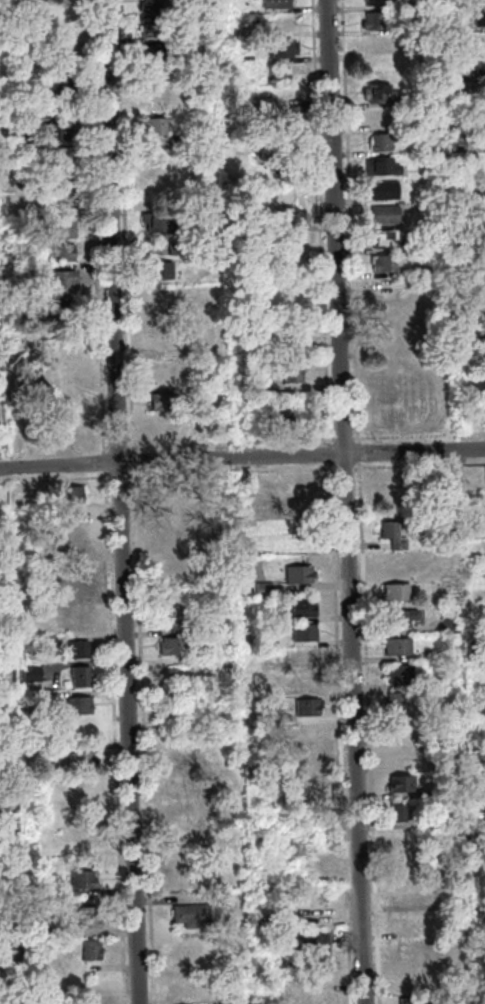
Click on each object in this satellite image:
building: (476, 0)
building: (374, 1)
building: (274, 3)
building: (150, 6)
building: (478, 16)
building: (372, 20)
building: (281, 23)
building: (448, 24)
building: (150, 28)
building: (380, 45)
building: (280, 47)
building: (149, 51)
building: (477, 64)
building: (54, 80)
building: (5, 89)
building: (376, 93)
building: (282, 95)
building: (154, 100)
building: (484, 110)
building: (377, 117)
building: (283, 120)
building: (150, 125)
building: (6, 128)
building: (53, 131)
building: (482, 138)
building: (176, 141)
building: (378, 141)
building: (277, 151)
building: (55, 155)
building: (269, 162)
building: (379, 166)
building: (158, 168)
building: (205, 177)
building: (57, 179)
building: (481, 186)
building: (381, 189)
building: (6, 195)
building: (66, 195)
building: (58, 204)
building: (482, 210)
building: (383, 213)
building: (287, 216)
building: (155, 221)
road: (347, 222)
road: (317, 223)
road: (93, 227)
building: (61, 228)
road: (122, 228)
building: (481, 234)
building: (381, 239)
building: (213, 248)
building: (174, 250)
building: (59, 252)
building: (481, 258)
building: (381, 262)
building: (419, 269)
building: (159, 270)
building: (34, 271)
building: (481, 284)
building: (384, 288)
building: (59, 291)
building: (159, 305)
building: (479, 309)
building: (391, 314)
building: (286, 333)
building: (484, 333)
building: (387, 340)
building: (156, 344)
building: (62, 347)
building: (260, 347)
building: (482, 357)
building: (392, 366)
building: (289, 371)
building: (160, 372)
building: (68, 379)
building: (262, 386)
building: (386, 393)
building: (164, 401)
building: (278, 419)
building: (390, 422)
building: (66, 428)
road: (418, 435)
road: (341, 438)
road: (229, 442)
road: (104, 448)
road: (116, 448)
road: (355, 452)
road: (326, 453)
road: (242, 458)
road: (131, 461)
road: (102, 462)
road: (417, 464)
road: (342, 467)
road: (291, 469)
road: (128, 475)
road: (116, 476)
building: (484, 477)
road: (54, 479)
building: (303, 488)
building: (392, 490)
building: (68, 494)
building: (484, 498)
road: (344, 501)
road: (118, 502)
building: (73, 520)
building: (294, 532)
building: (461, 533)
building: (389, 535)
building: (390, 564)
building: (179, 570)
building: (484, 573)
building: (298, 574)
building: (71, 583)
building: (261, 589)
building: (392, 592)
building: (34, 599)
building: (301, 607)
building: (175, 609)
building: (79, 616)
building: (396, 617)
building: (447, 625)
building: (301, 632)
building: (45, 640)
building: (170, 645)
building: (394, 646)
building: (473, 647)
building: (76, 649)
building: (302, 657)
building: (170, 670)
building: (29, 672)
building: (395, 674)
building: (78, 676)
building: (306, 681)
building: (43, 698)
building: (0, 701)
building: (393, 702)
building: (76, 705)
building: (305, 706)
building: (473, 708)
building: (168, 710)
building: (81, 730)
road: (338, 732)
road: (366, 732)
building: (307, 733)
road: (141, 736)
road: (112, 737)
building: (281, 745)
building: (47, 753)
building: (5, 754)
building: (476, 755)
building: (78, 760)
building: (308, 761)
building: (276, 775)
building: (174, 779)
building: (395, 784)
building: (434, 795)
building: (477, 805)
building: (2, 807)
building: (177, 809)
building: (393, 813)
building: (434, 822)
building: (176, 836)
building: (0, 839)
building: (181, 868)
building: (402, 870)
building: (435, 878)
building: (80, 880)
building: (405, 894)
building: (479, 910)
building: (189, 914)
building: (84, 917)
building: (319, 917)
building: (410, 924)
building: (313, 949)
building: (89, 950)
building: (404, 950)
building: (437, 960)
building: (297, 977)
building: (480, 980)
building: (409, 981)
building: (181, 988)
building: (90, 990)
building: (318, 995)
building: (406, 1000)

